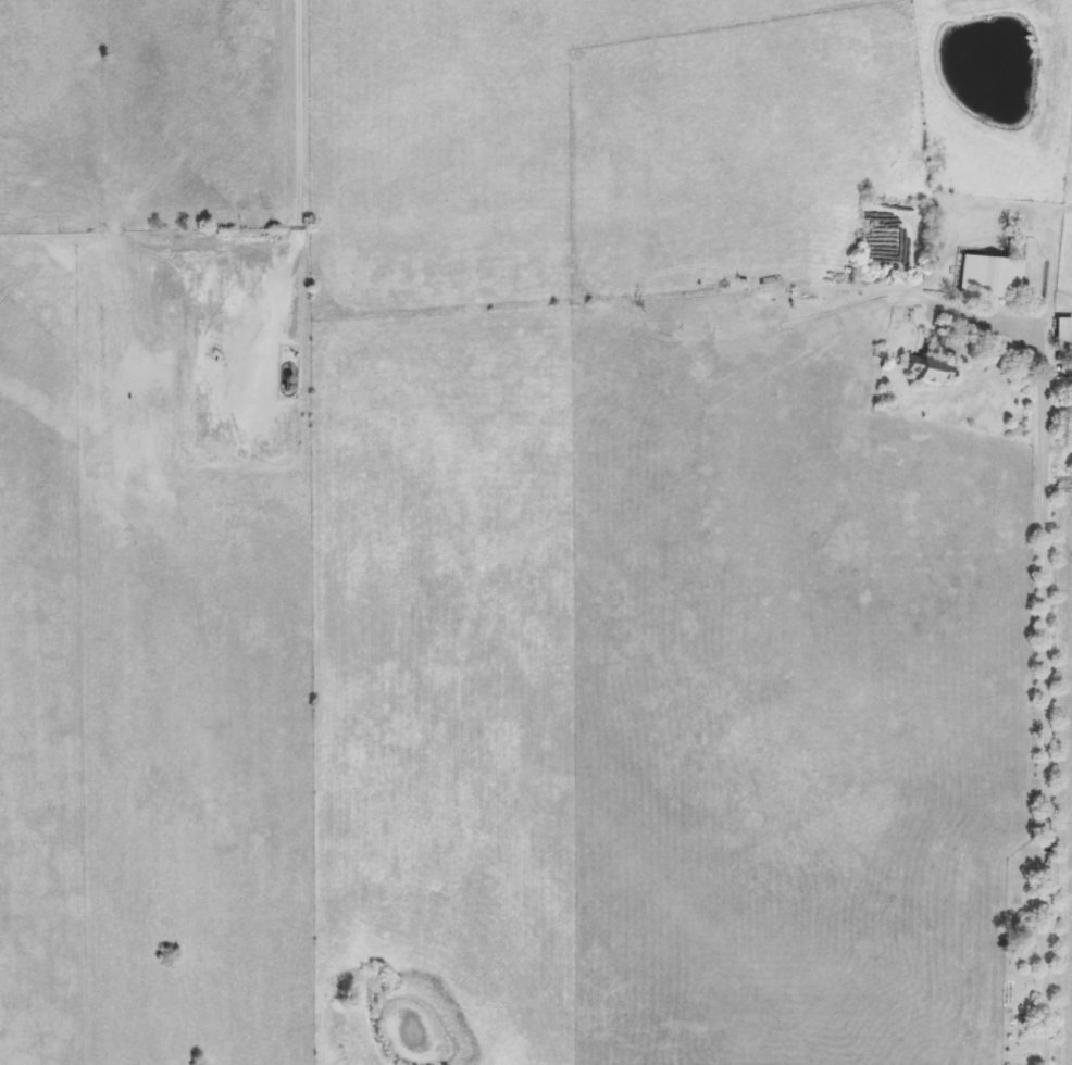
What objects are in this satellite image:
building: (988, 278)
building: (1060, 333)
building: (924, 372)
building: (1068, 416)
road: (1042, 655)

